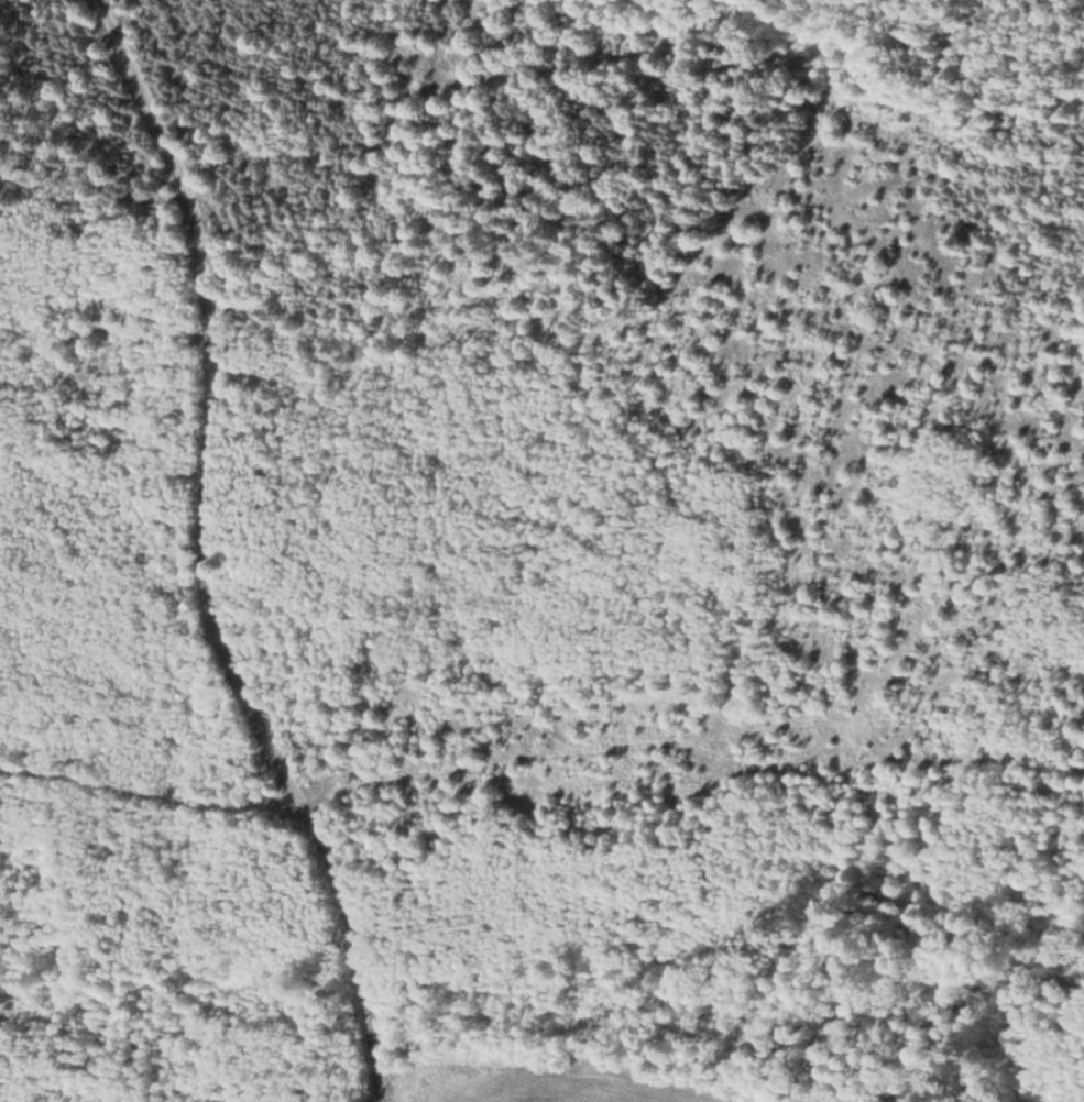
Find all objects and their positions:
road: (197, 553)

